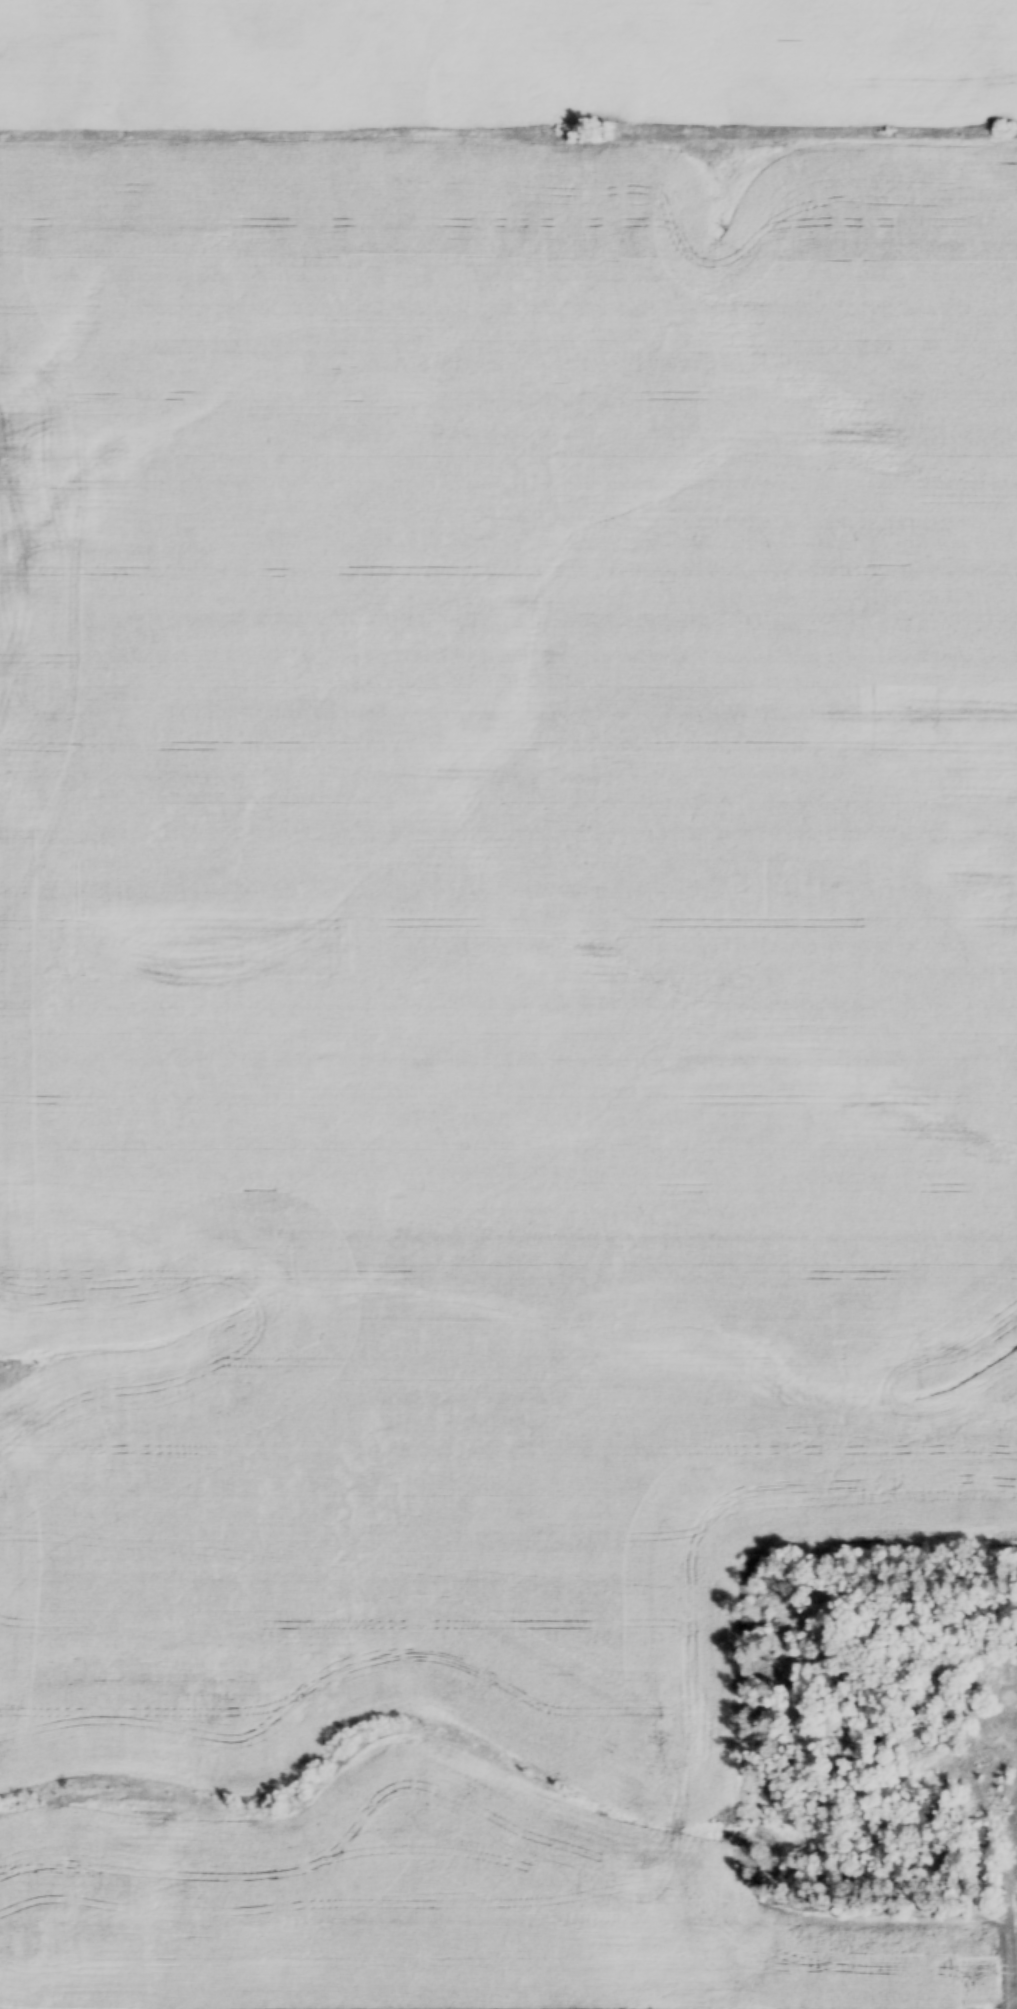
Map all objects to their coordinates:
road: (1007, 1887)

